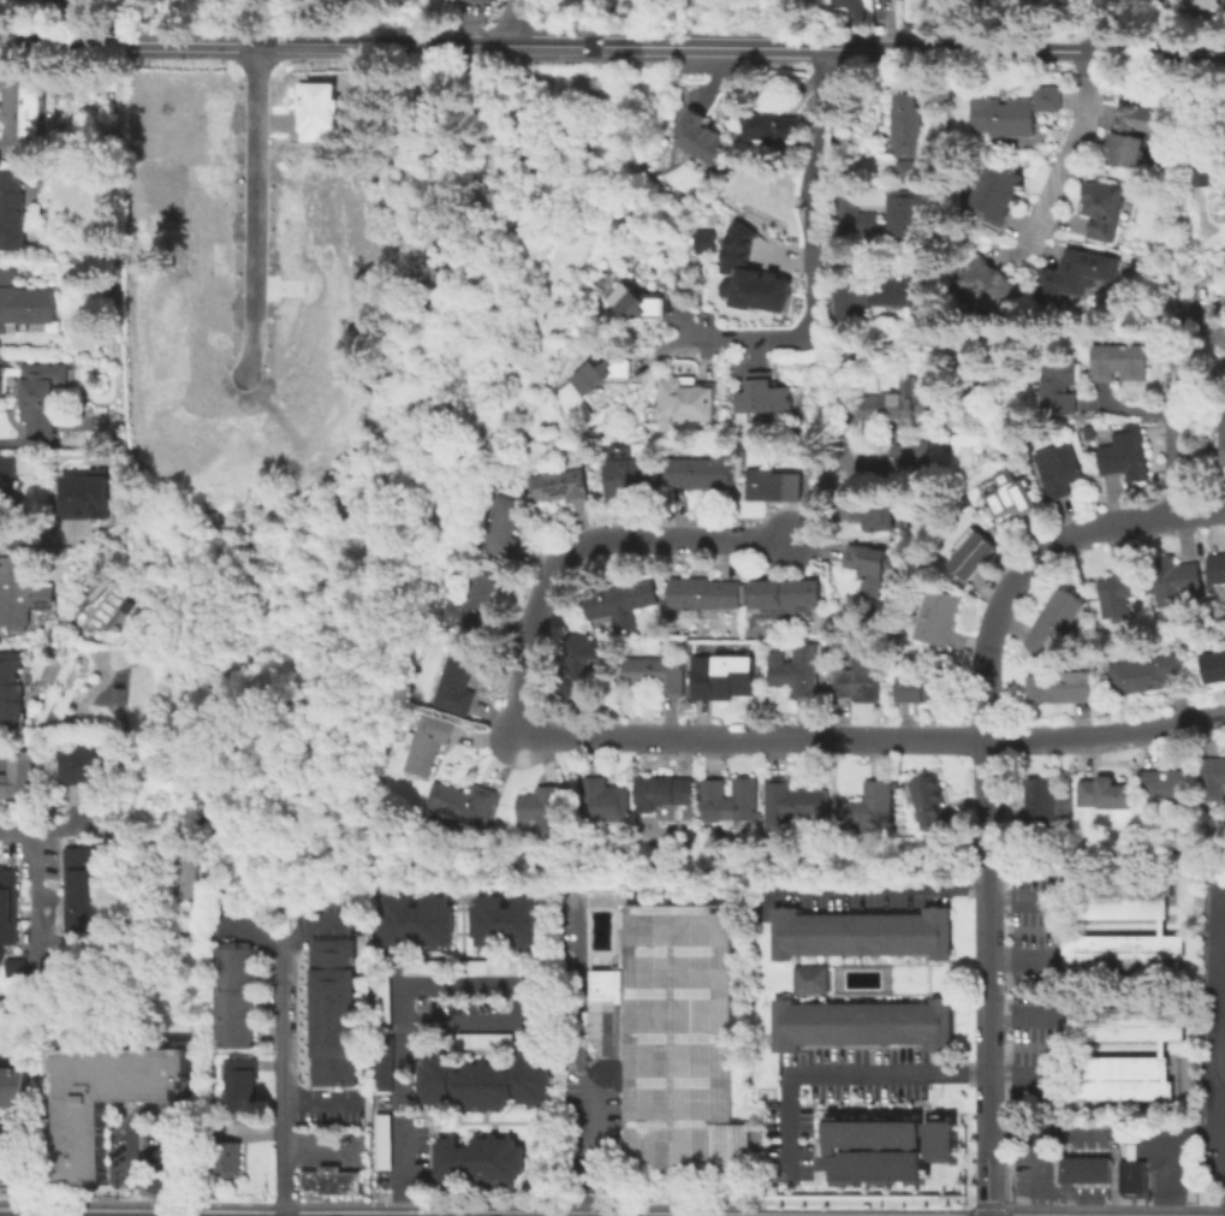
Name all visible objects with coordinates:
building: (484, 1)
building: (1207, 2)
road: (131, 20)
road: (305, 20)
road: (516, 20)
road: (1104, 25)
road: (612, 43)
road: (805, 54)
building: (325, 109)
building: (31, 111)
building: (1017, 111)
building: (771, 121)
building: (909, 125)
building: (1136, 131)
building: (698, 136)
road: (1074, 153)
road: (1179, 158)
road: (855, 162)
building: (911, 170)
building: (1196, 176)
road: (1123, 178)
building: (998, 192)
road: (260, 203)
building: (1106, 204)
road: (840, 212)
building: (908, 212)
building: (24, 214)
building: (870, 224)
building: (701, 241)
building: (326, 250)
road: (815, 250)
road: (832, 265)
building: (1080, 273)
building: (749, 274)
building: (988, 279)
building: (900, 291)
road: (843, 298)
building: (28, 301)
building: (636, 301)
building: (191, 320)
road: (1177, 342)
building: (1118, 361)
building: (602, 374)
building: (1057, 385)
building: (43, 393)
building: (765, 395)
building: (162, 398)
building: (688, 399)
building: (894, 404)
road: (843, 407)
building: (1089, 432)
building: (1221, 435)
building: (1125, 455)
building: (897, 458)
road: (1177, 465)
building: (1058, 468)
building: (701, 470)
building: (629, 471)
building: (558, 485)
building: (773, 485)
building: (10, 493)
building: (84, 493)
road: (810, 494)
building: (1007, 494)
building: (873, 512)
building: (501, 527)
road: (581, 541)
building: (971, 554)
road: (1040, 557)
building: (868, 560)
building: (1217, 565)
building: (1176, 576)
building: (22, 589)
building: (1119, 589)
building: (785, 592)
building: (703, 593)
building: (475, 600)
building: (622, 600)
building: (938, 616)
building: (1057, 621)
building: (1214, 663)
building: (579, 664)
building: (795, 669)
building: (655, 672)
building: (1146, 674)
building: (720, 676)
building: (858, 677)
building: (454, 681)
building: (12, 686)
building: (926, 686)
building: (1060, 687)
building: (35, 734)
road: (629, 735)
road: (975, 737)
building: (427, 742)
building: (88, 765)
building: (19, 776)
building: (1212, 779)
building: (1165, 787)
building: (664, 791)
road: (985, 791)
road: (999, 791)
building: (1104, 791)
building: (878, 794)
building: (1042, 796)
building: (928, 800)
building: (462, 801)
building: (605, 801)
building: (729, 801)
building: (790, 805)
building: (543, 807)
road: (1000, 859)
road: (985, 860)
road: (30, 865)
building: (186, 873)
road: (880, 885)
building: (82, 888)
building: (1113, 896)
road: (1015, 900)
building: (7, 906)
building: (415, 920)
building: (506, 920)
building: (858, 932)
building: (331, 945)
road: (283, 948)
building: (1119, 949)
road: (1016, 957)
building: (331, 960)
building: (462, 966)
building: (25, 967)
building: (331, 974)
building: (807, 978)
road: (515, 986)
building: (331, 989)
road: (983, 992)
building: (232, 996)
building: (380, 997)
building: (331, 1004)
road: (1219, 1013)
road: (1019, 1016)
building: (331, 1019)
building: (858, 1022)
building: (1119, 1024)
building: (331, 1033)
building: (668, 1036)
building: (482, 1039)
building: (331, 1048)
road: (575, 1052)
building: (331, 1062)
building: (380, 1062)
road: (1223, 1062)
building: (237, 1069)
road: (868, 1074)
building: (1112, 1076)
building: (331, 1078)
building: (482, 1079)
road: (281, 1082)
building: (13, 1085)
building: (237, 1095)
building: (103, 1097)
road: (310, 1099)
road: (130, 1113)
road: (402, 1119)
road: (1009, 1128)
road: (1074, 1129)
road: (252, 1131)
building: (10, 1132)
parking lot: (1188, 1138)
building: (380, 1140)
building: (884, 1147)
road: (1164, 1147)
road: (313, 1151)
building: (220, 1152)
road: (1003, 1152)
building: (476, 1158)
road: (8, 1162)
road: (983, 1163)
road: (1035, 1171)
building: (1084, 1175)
road: (1086, 1175)
building: (1131, 1179)
building: (332, 1180)
road: (163, 1198)
road: (132, 1200)
road: (281, 1203)
road: (986, 1203)
road: (673, 1204)
road: (1086, 1204)
road: (967, 1209)
road: (1004, 1210)

